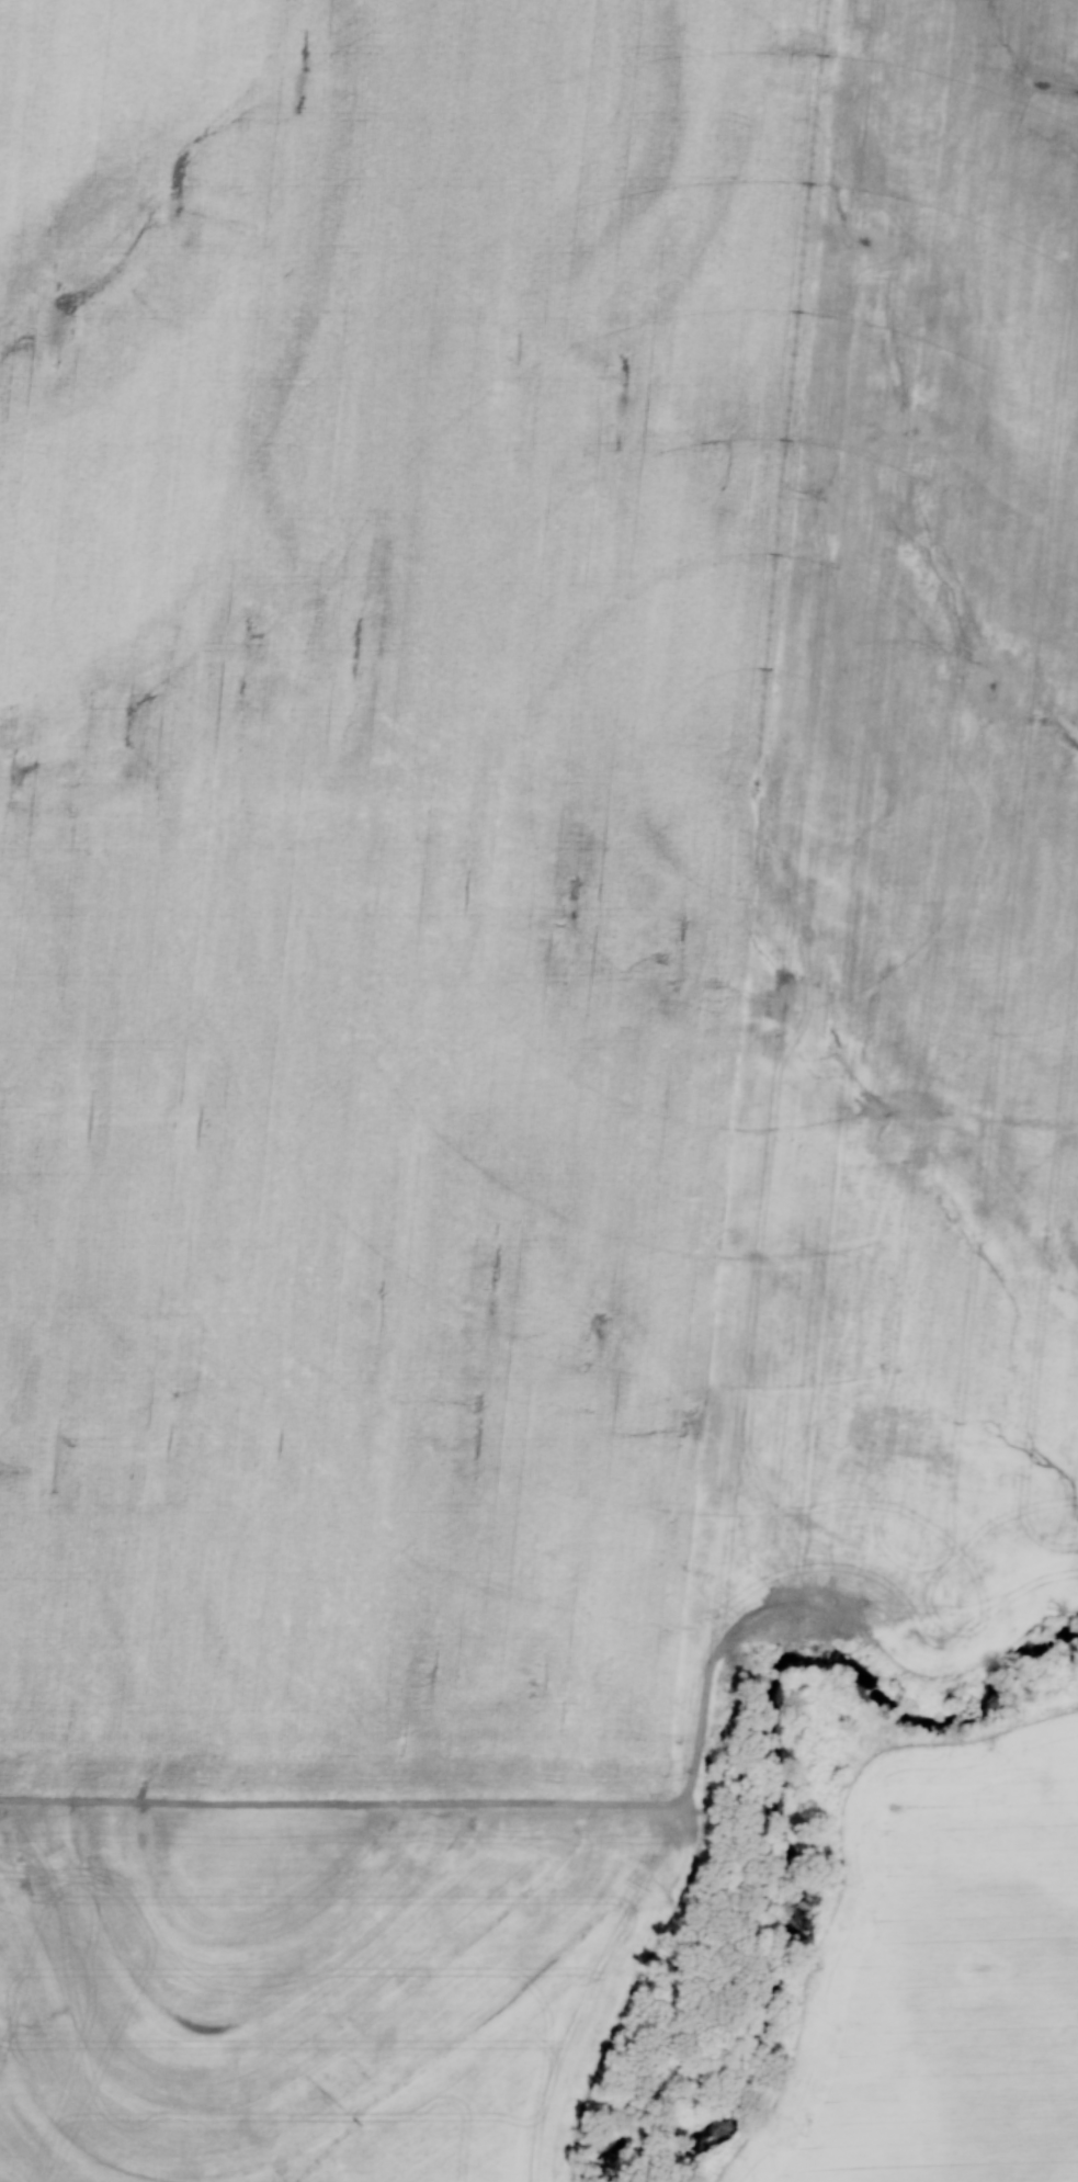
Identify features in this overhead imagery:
road: (383, 1268)

